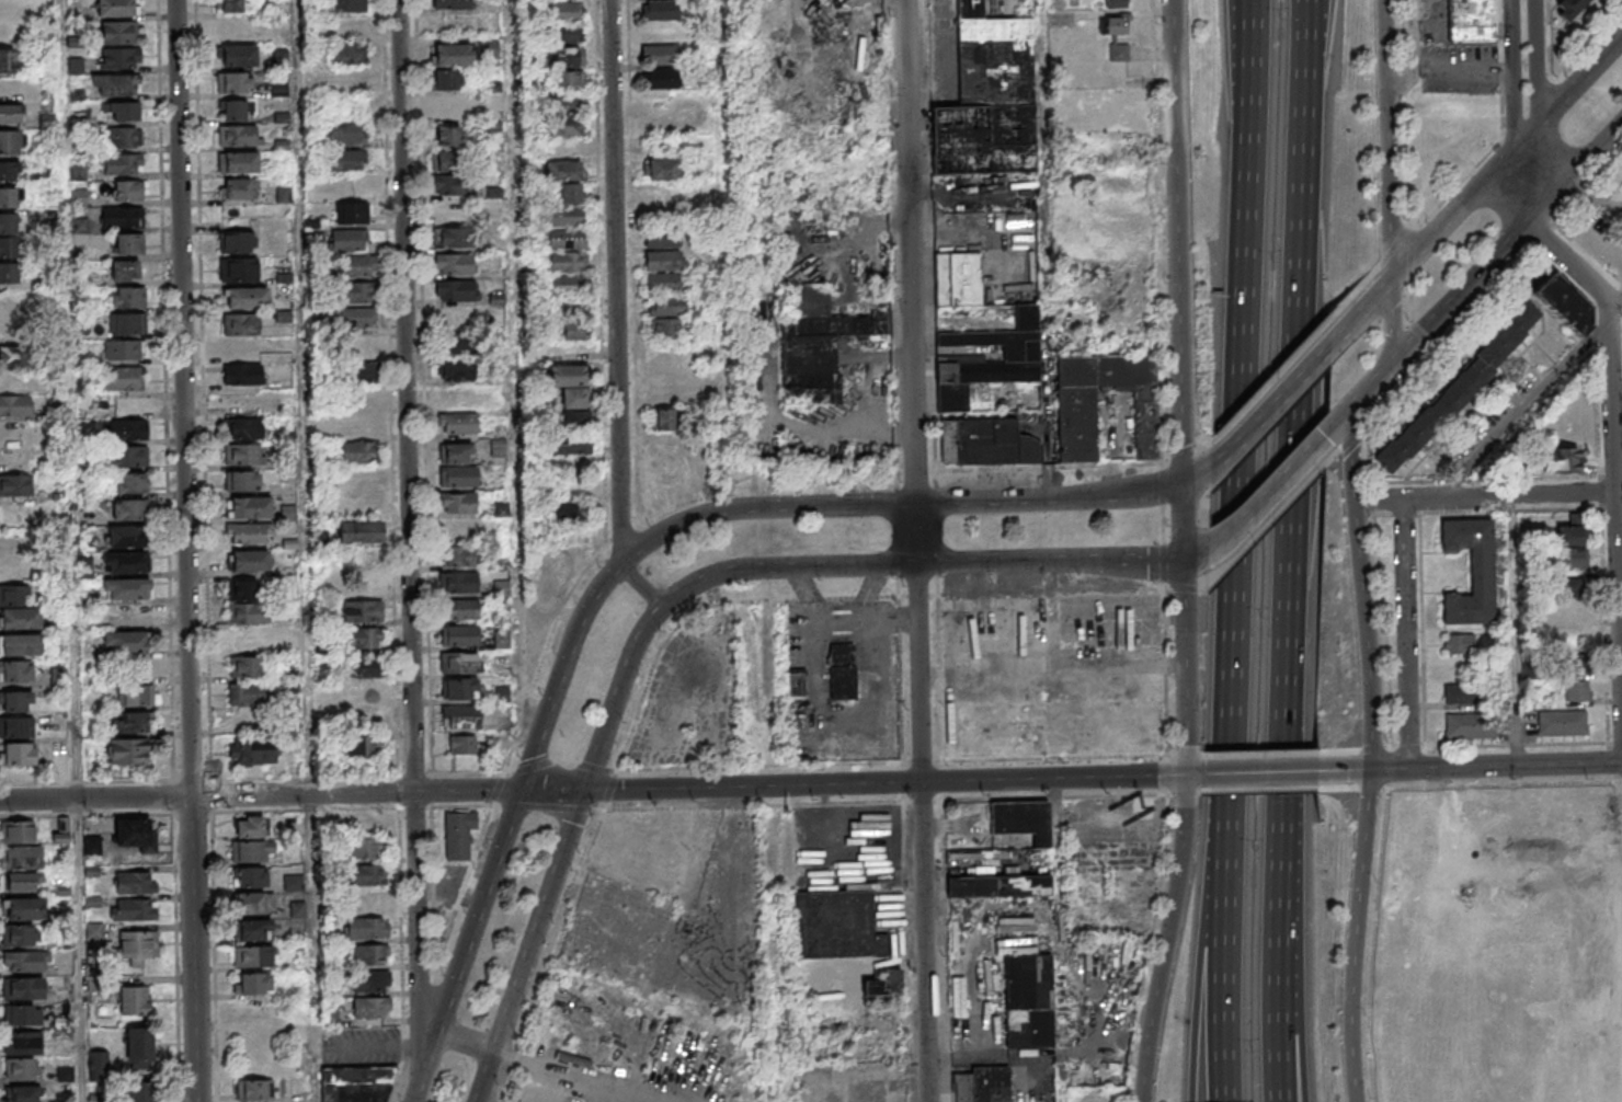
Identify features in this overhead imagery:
building: (1115, 2)
building: (859, 3)
building: (452, 4)
building: (230, 7)
building: (346, 7)
building: (1568, 8)
building: (117, 9)
building: (5, 10)
building: (660, 10)
building: (564, 11)
road: (1310, 14)
road: (1254, 19)
building: (1470, 21)
building: (1116, 23)
building: (117, 33)
building: (567, 34)
road: (1416, 37)
road: (1041, 48)
building: (1118, 51)
building: (659, 54)
building: (347, 55)
building: (453, 55)
building: (237, 56)
building: (568, 57)
building: (119, 59)
building: (11, 61)
road: (1447, 69)
road: (1512, 77)
building: (661, 78)
road: (1534, 78)
building: (570, 79)
building: (447, 80)
building: (235, 82)
building: (115, 85)
building: (989, 97)
road: (1570, 97)
building: (569, 101)
building: (449, 106)
building: (232, 108)
building: (121, 111)
building: (9, 114)
building: (563, 125)
building: (345, 134)
building: (237, 135)
building: (446, 136)
building: (123, 138)
building: (11, 141)
road: (1386, 141)
building: (345, 159)
building: (238, 162)
building: (445, 162)
building: (119, 164)
building: (661, 168)
building: (9, 170)
road: (66, 175)
road: (1577, 179)
building: (566, 180)
building: (452, 184)
building: (238, 188)
building: (127, 191)
road: (1521, 191)
building: (11, 196)
building: (351, 213)
building: (568, 216)
building: (122, 218)
road: (1455, 218)
building: (8, 222)
building: (452, 238)
building: (568, 239)
building: (662, 239)
building: (237, 241)
building: (347, 241)
building: (128, 244)
building: (9, 246)
building: (1610, 254)
building: (568, 262)
building: (453, 264)
building: (356, 267)
building: (238, 268)
building: (125, 271)
building: (664, 271)
building: (12, 272)
building: (958, 278)
road: (614, 283)
building: (569, 284)
building: (456, 290)
building: (356, 294)
building: (125, 297)
building: (247, 298)
building: (1564, 301)
building: (569, 306)
building: (665, 306)
road: (1362, 315)
building: (357, 318)
building: (124, 323)
building: (241, 323)
road: (1392, 323)
road: (1429, 328)
building: (664, 329)
building: (573, 331)
building: (818, 344)
building: (460, 345)
building: (241, 347)
building: (124, 349)
building: (14, 356)
building: (985, 359)
road: (513, 365)
building: (455, 370)
building: (362, 372)
building: (242, 374)
building: (124, 378)
road: (1179, 387)
building: (1459, 389)
building: (571, 395)
building: (455, 397)
road: (182, 398)
road: (1612, 399)
building: (14, 405)
road: (1273, 409)
road: (1523, 409)
building: (664, 420)
road: (1246, 422)
building: (457, 423)
building: (1076, 424)
building: (244, 428)
building: (128, 429)
building: (987, 444)
building: (571, 445)
building: (498, 447)
building: (359, 452)
building: (243, 455)
building: (128, 457)
road: (1350, 457)
building: (1560, 460)
road: (1197, 474)
building: (242, 481)
building: (129, 484)
building: (15, 485)
road: (1275, 490)
road: (1485, 496)
building: (458, 503)
road: (768, 505)
building: (249, 507)
building: (128, 509)
building: (570, 514)
building: (359, 531)
building: (250, 533)
building: (1569, 535)
building: (126, 537)
building: (320, 538)
road: (408, 548)
road: (306, 550)
road: (914, 551)
building: (459, 555)
building: (1569, 558)
building: (249, 560)
building: (125, 563)
road: (1292, 564)
road: (834, 566)
building: (1471, 571)
building: (550, 574)
building: (458, 582)
road: (639, 586)
building: (125, 589)
building: (242, 589)
building: (16, 608)
building: (460, 609)
building: (533, 609)
building: (1568, 609)
building: (363, 610)
building: (247, 613)
road: (1405, 634)
building: (460, 635)
road: (1366, 635)
building: (364, 638)
building: (247, 640)
building: (502, 640)
building: (124, 643)
building: (1459, 643)
building: (20, 644)
building: (1574, 662)
building: (458, 663)
building: (248, 666)
building: (362, 668)
building: (959, 669)
building: (15, 670)
building: (842, 670)
building: (796, 684)
building: (1143, 686)
building: (460, 688)
building: (1574, 690)
building: (362, 692)
building: (134, 695)
building: (248, 695)
building: (501, 695)
building: (1460, 695)
building: (15, 700)
building: (461, 716)
road: (75, 718)
building: (129, 722)
building: (1562, 723)
building: (15, 726)
building: (1470, 726)
building: (462, 744)
building: (364, 746)
building: (127, 751)
building: (252, 751)
building: (18, 754)
road: (559, 760)
road: (1495, 766)
road: (1344, 771)
road: (1253, 772)
road: (467, 773)
road: (884, 783)
road: (498, 788)
road: (609, 789)
road: (551, 790)
traffic signals: (583, 790)
traffic signals: (519, 791)
road: (354, 793)
road: (94, 799)
road: (753, 804)
road: (460, 805)
road: (547, 807)
road: (305, 810)
building: (1021, 819)
building: (250, 827)
building: (61, 830)
building: (16, 831)
building: (132, 833)
building: (459, 835)
building: (369, 849)
building: (250, 851)
building: (20, 858)
building: (369, 875)
building: (250, 877)
building: (23, 882)
building: (135, 882)
building: (294, 883)
building: (998, 886)
road: (461, 892)
building: (368, 903)
building: (253, 904)
building: (24, 908)
building: (133, 909)
building: (297, 909)
road: (479, 911)
road: (538, 920)
building: (834, 923)
building: (366, 929)
building: (252, 931)
building: (20, 934)
road: (1353, 935)
road: (1164, 938)
building: (881, 944)
building: (138, 945)
road: (192, 949)
road: (78, 951)
road: (1203, 953)
road: (552, 954)
road: (1226, 954)
road: (401, 955)
road: (214, 956)
building: (370, 956)
building: (252, 957)
building: (25, 961)
building: (891, 978)
building: (370, 982)
building: (253, 984)
building: (872, 986)
building: (22, 987)
building: (1028, 1000)
building: (134, 1001)
building: (372, 1009)
road: (422, 1009)
building: (22, 1014)
road: (1301, 1024)
building: (23, 1043)
building: (139, 1047)
road: (426, 1067)
building: (20, 1069)
road: (484, 1077)
building: (356, 1083)
building: (992, 1083)
building: (252, 1090)
building: (140, 1091)
building: (22, 1094)

